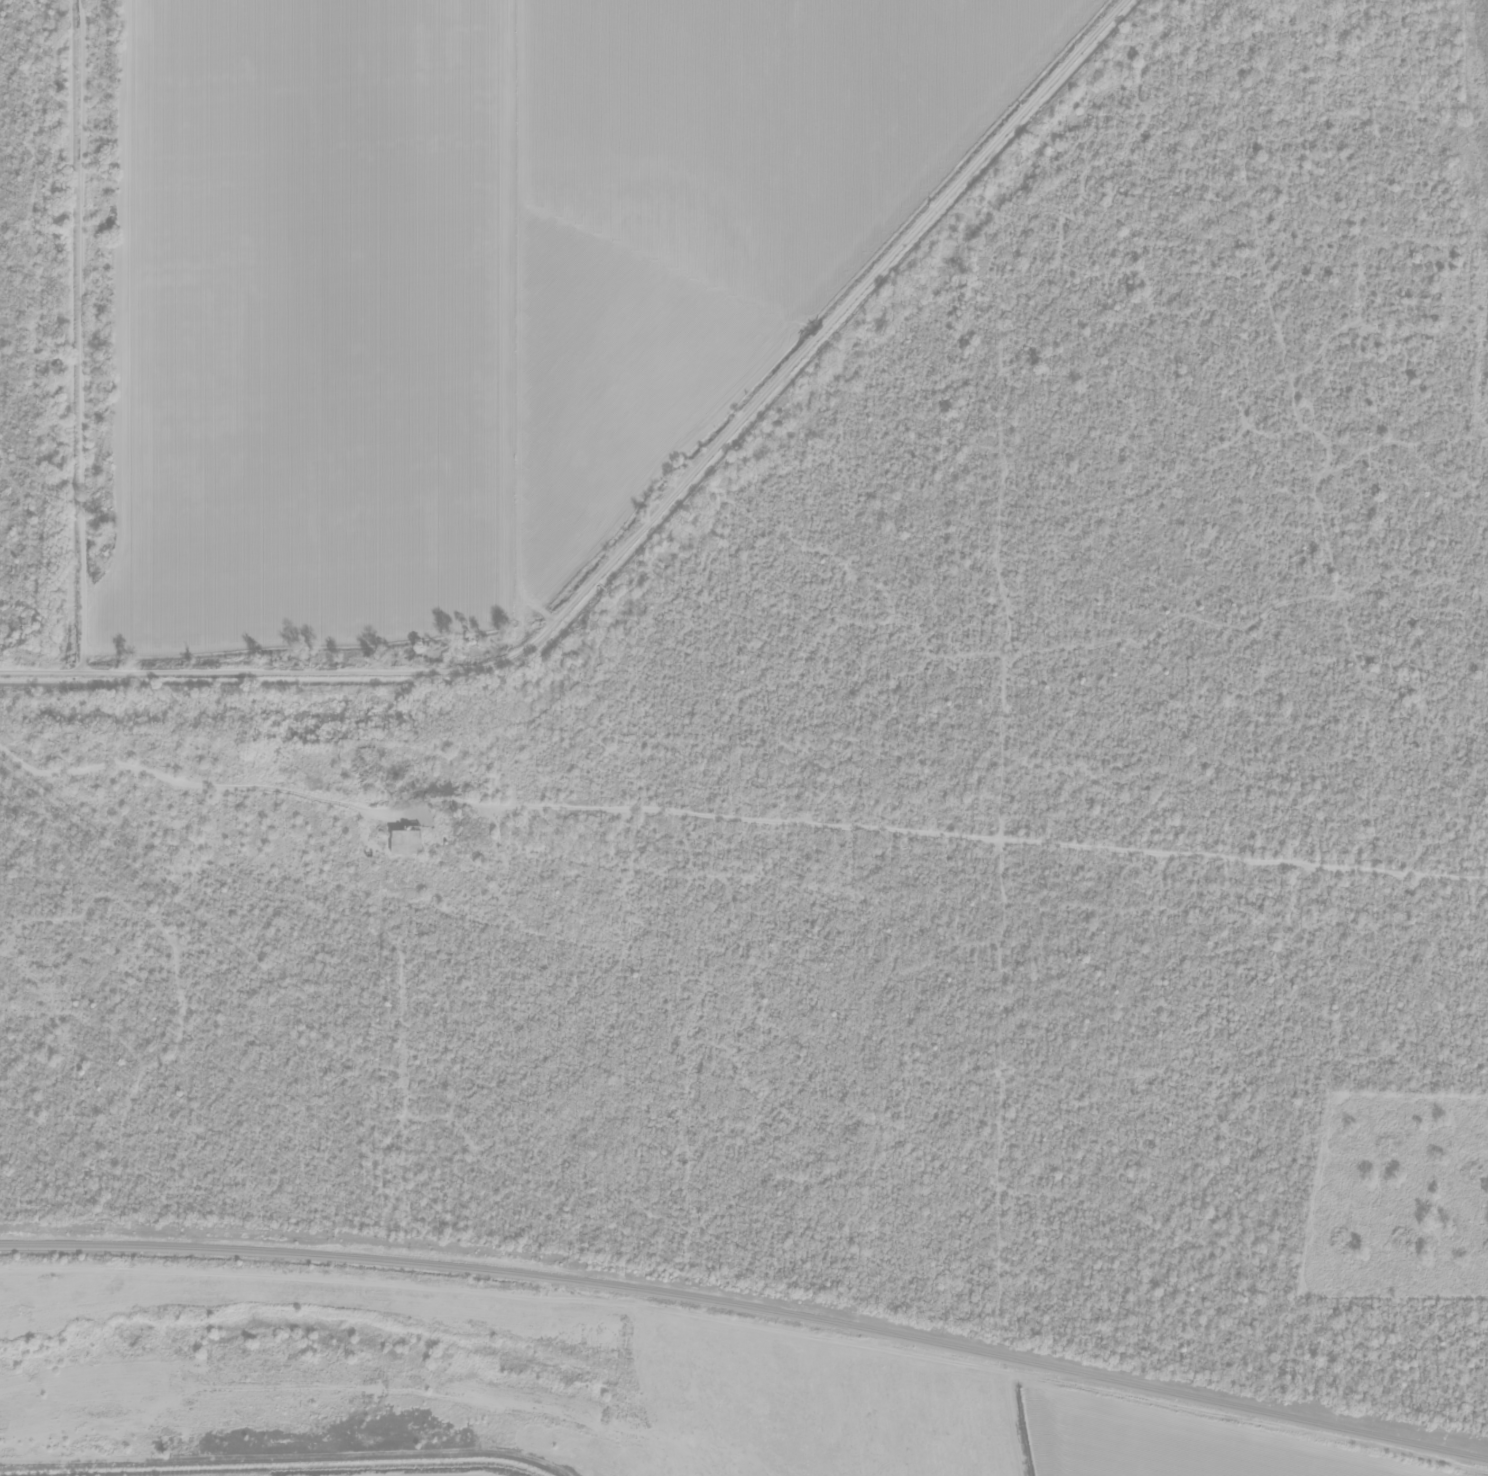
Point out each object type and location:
railway: (749, 1309)

